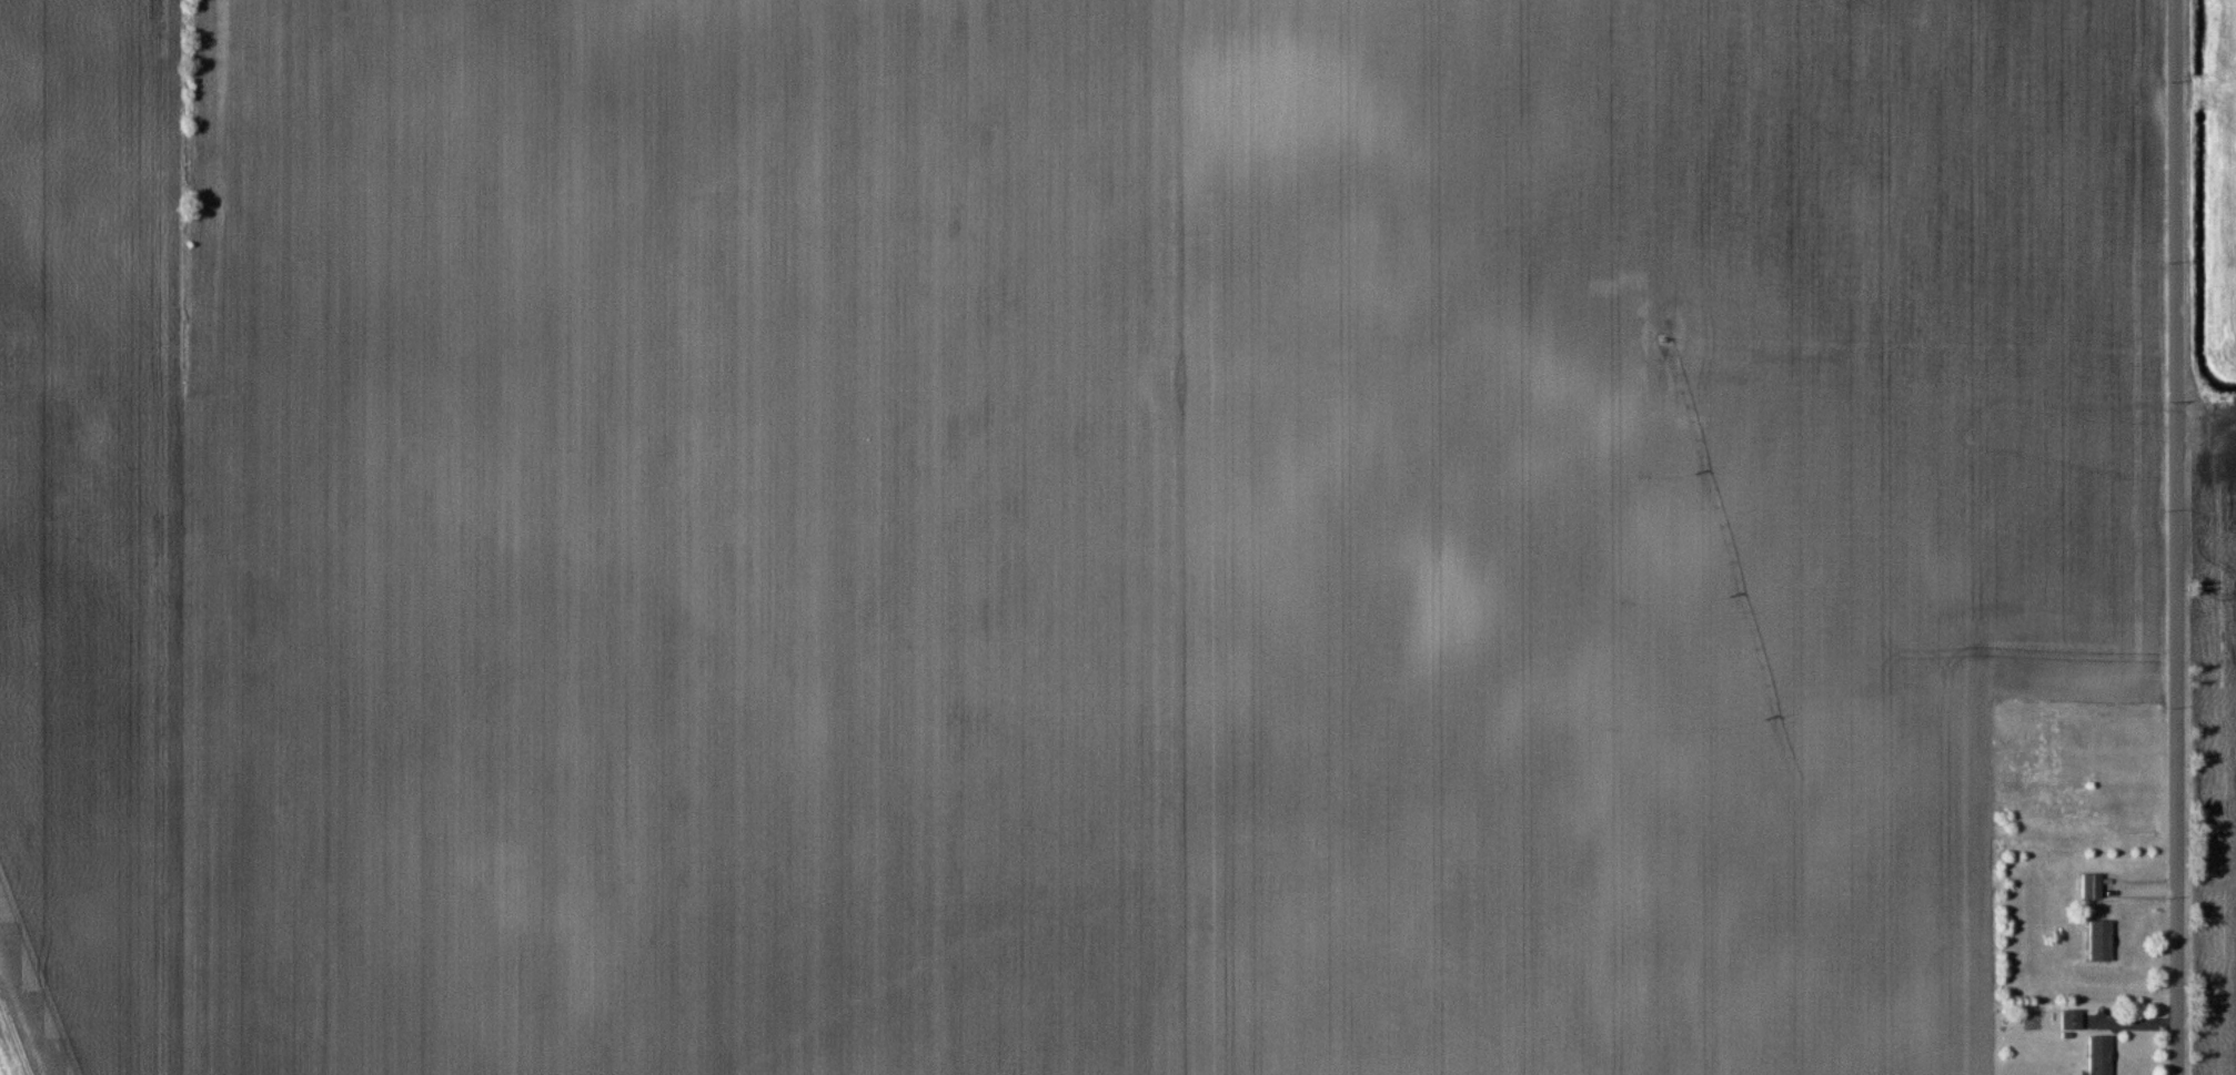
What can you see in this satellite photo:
road: (2183, 537)
building: (2089, 885)
building: (2097, 941)
building: (2069, 1018)
building: (2097, 1055)

